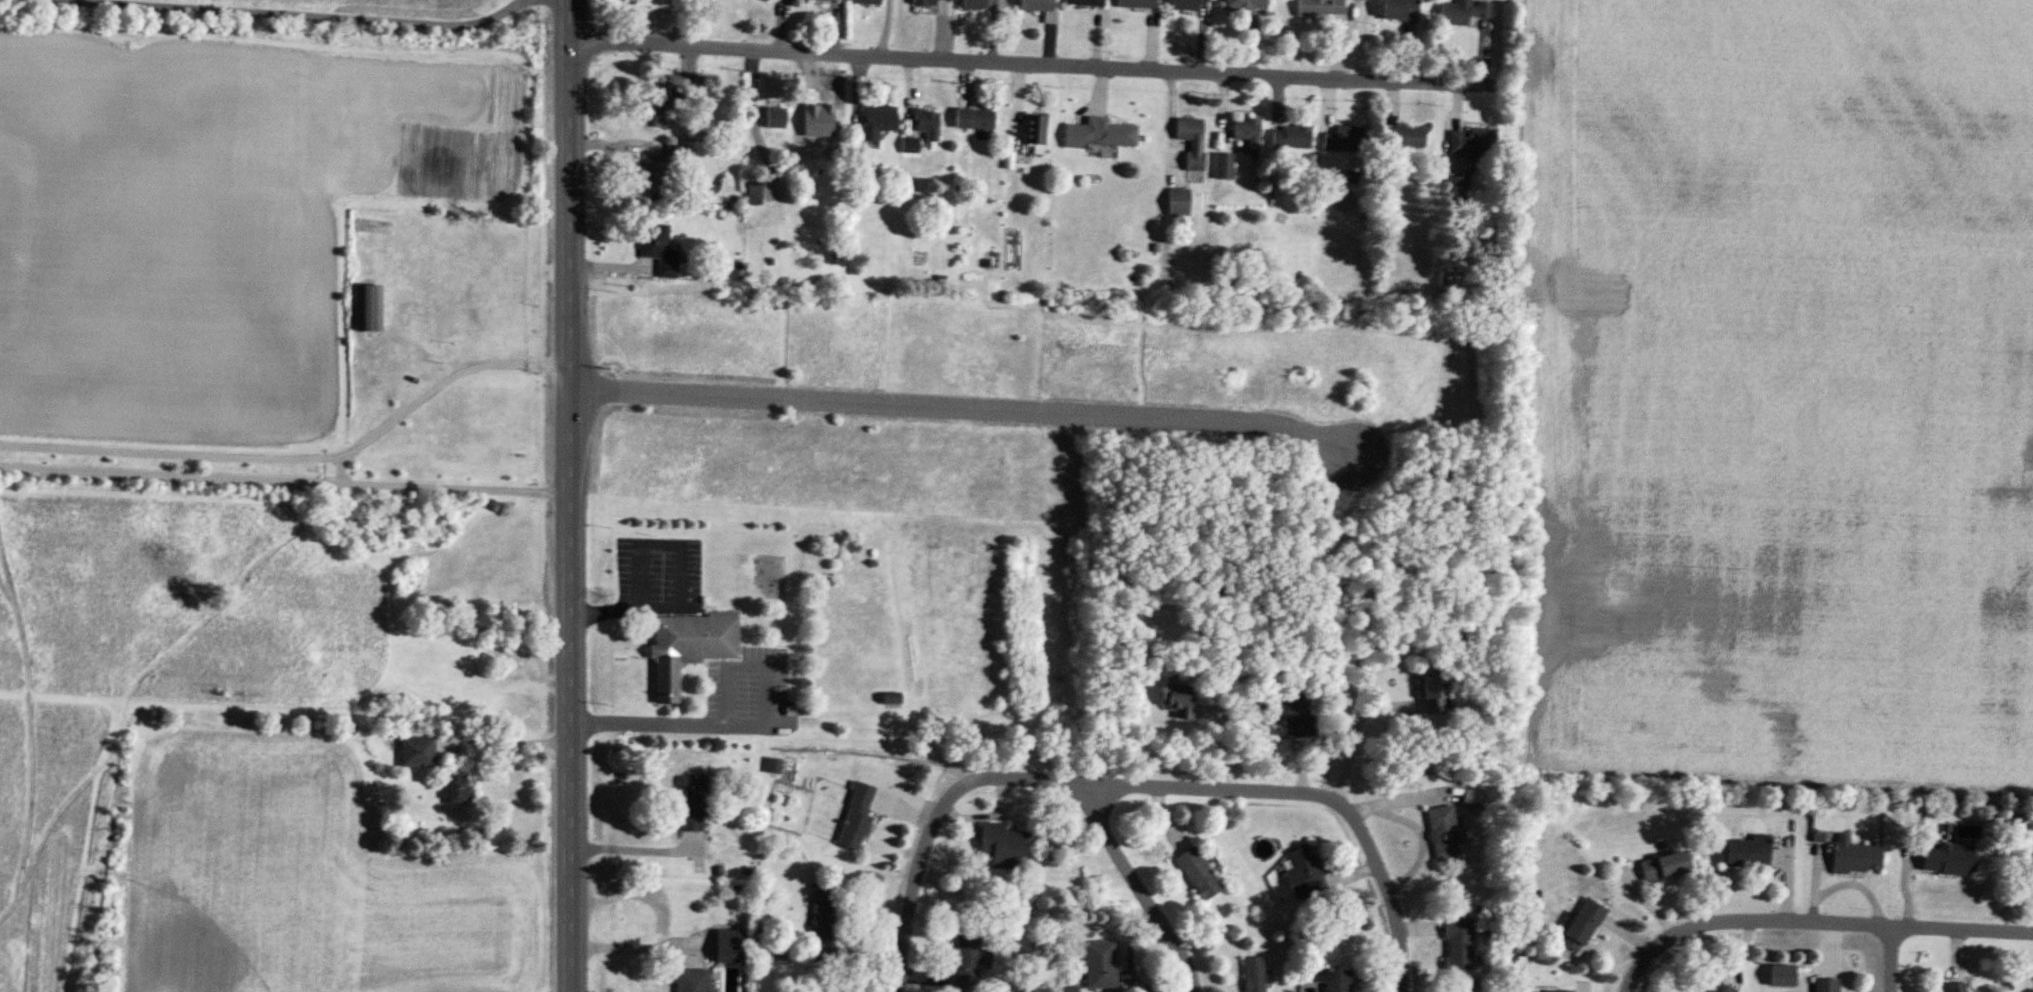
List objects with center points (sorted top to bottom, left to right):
building: (773, 0)
building: (1357, 0)
building: (822, 1)
building: (866, 2)
building: (927, 3)
building: (1085, 3)
building: (653, 4)
building: (1140, 4)
building: (974, 5)
building: (1187, 6)
building: (1243, 6)
building: (1319, 8)
building: (1040, 9)
building: (1399, 10)
building: (1463, 12)
road: (336, 16)
road: (1035, 61)
building: (667, 89)
building: (774, 118)
building: (877, 119)
building: (974, 119)
building: (819, 124)
building: (922, 130)
building: (1247, 131)
building: (1033, 134)
building: (1100, 134)
building: (1291, 136)
building: (1406, 137)
building: (1343, 140)
building: (1191, 141)
building: (1471, 141)
building: (1223, 166)
building: (657, 171)
building: (1456, 192)
building: (754, 194)
building: (1178, 202)
building: (658, 249)
building: (367, 308)
park: (251, 340)
road: (951, 408)
road: (288, 439)
road: (422, 468)
road: (550, 496)
road: (674, 576)
building: (689, 648)
building: (1432, 693)
building: (891, 701)
building: (1187, 703)
building: (1293, 714)
road: (735, 722)
road: (1355, 733)
road: (502, 743)
building: (417, 752)
building: (772, 766)
road: (1134, 784)
building: (455, 790)
building: (1472, 799)
building: (692, 805)
building: (855, 817)
building: (1443, 832)
building: (1004, 847)
road: (630, 848)
building: (1746, 852)
building: (1854, 857)
building: (1948, 860)
building: (2028, 866)
building: (1664, 867)
building: (1303, 873)
building: (1198, 874)
road: (1387, 885)
road: (1141, 888)
road: (912, 894)
building: (823, 914)
road: (1847, 922)
building: (1582, 926)
road: (633, 942)
building: (1458, 945)
building: (727, 947)
road: (1893, 958)
building: (969, 961)
road: (1643, 963)
building: (1100, 965)
building: (1254, 975)
building: (690, 981)
building: (1333, 981)
building: (1825, 985)
building: (1955, 987)
building: (1717, 988)
building: (1557, 991)

